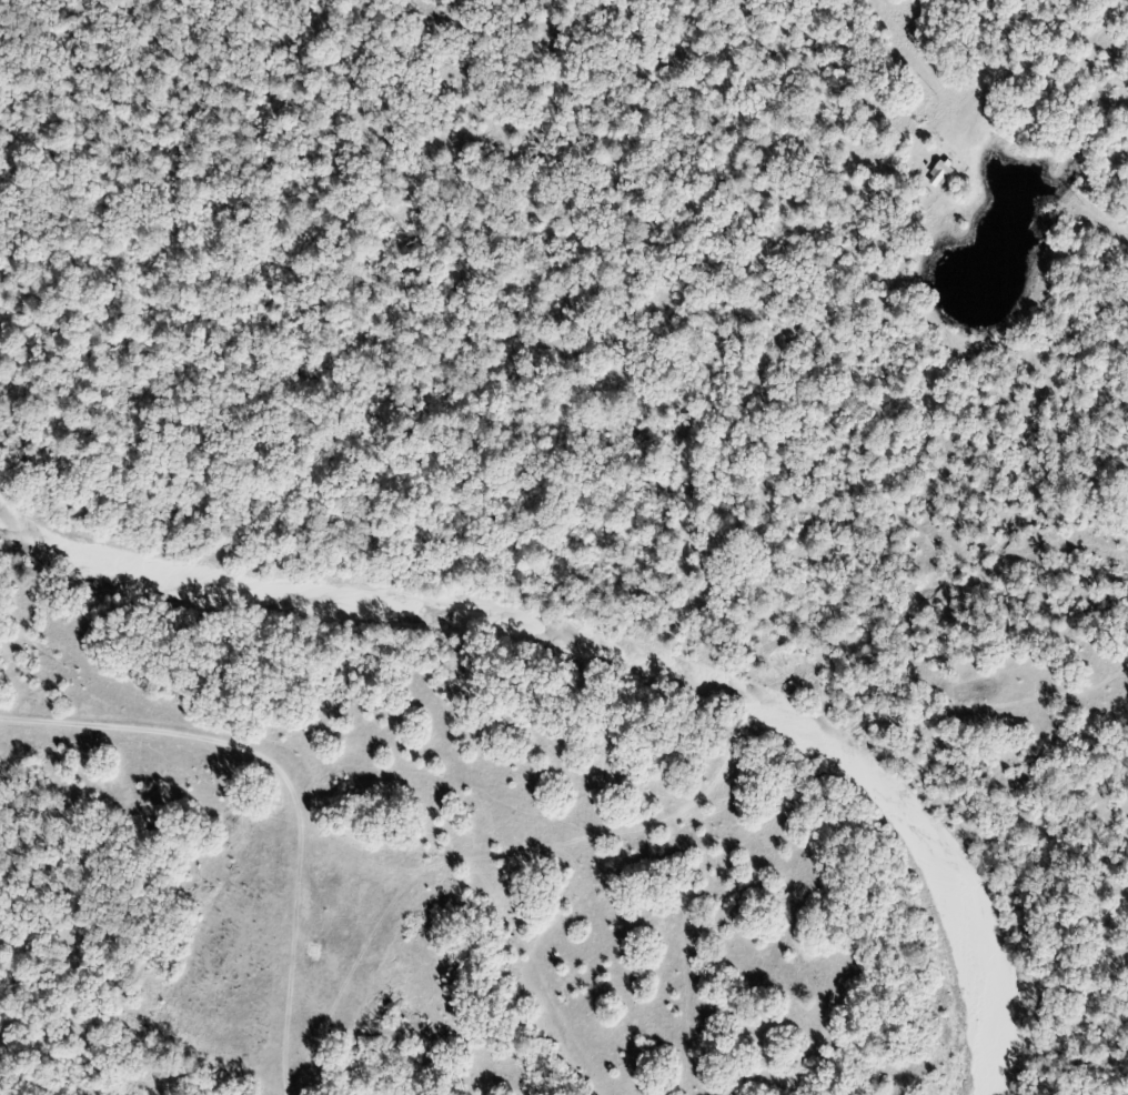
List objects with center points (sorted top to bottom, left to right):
building: (938, 173)

